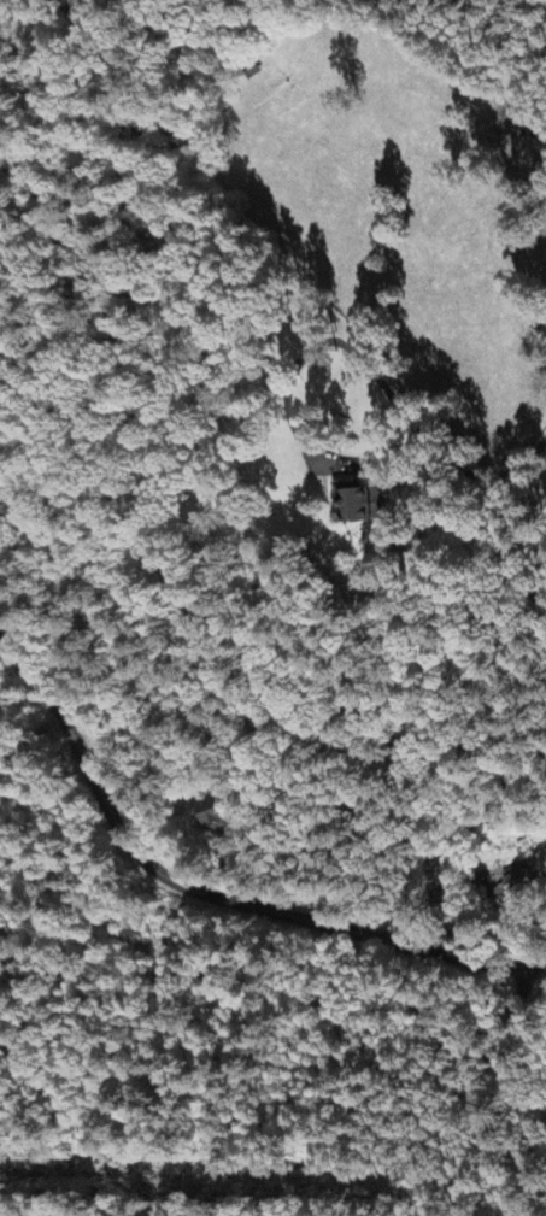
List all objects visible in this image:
building: (354, 507)
road: (116, 603)
building: (512, 891)
road: (205, 892)
road: (510, 1006)

